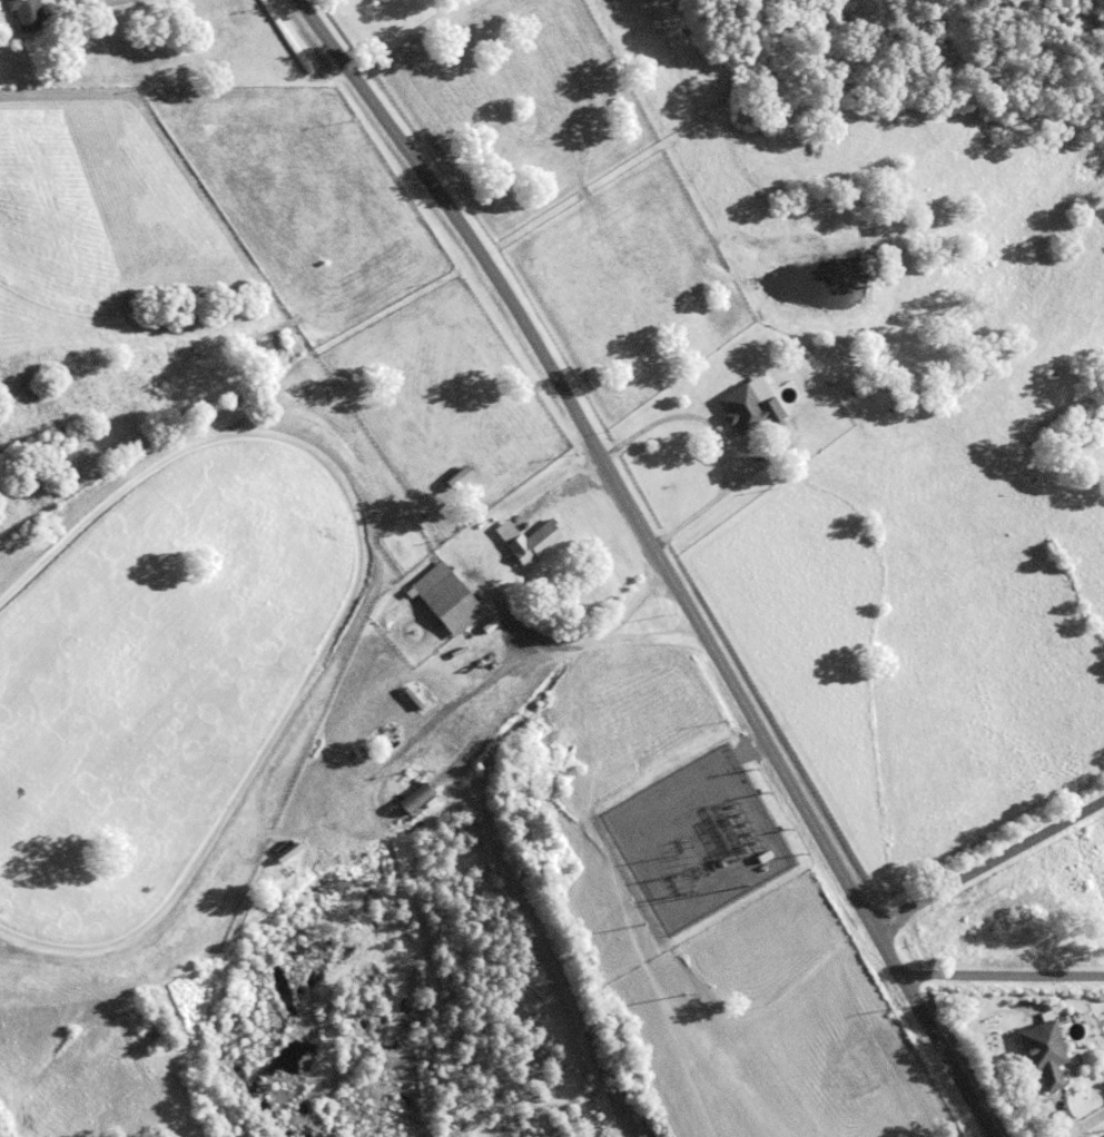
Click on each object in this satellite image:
road: (89, 7)
building: (27, 13)
building: (750, 408)
building: (410, 439)
building: (453, 468)
building: (472, 484)
building: (454, 485)
building: (528, 537)
road: (659, 558)
building: (446, 596)
building: (413, 696)
building: (551, 749)
building: (412, 797)
road: (988, 864)
road: (1002, 973)
building: (1006, 1044)
building: (1043, 1050)
building: (1103, 1136)

